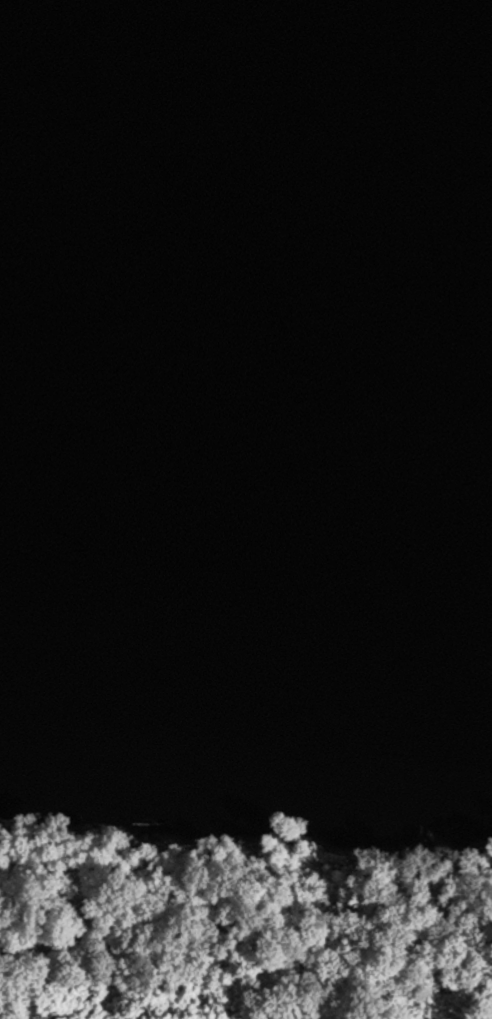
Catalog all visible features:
river: (246, 156)

